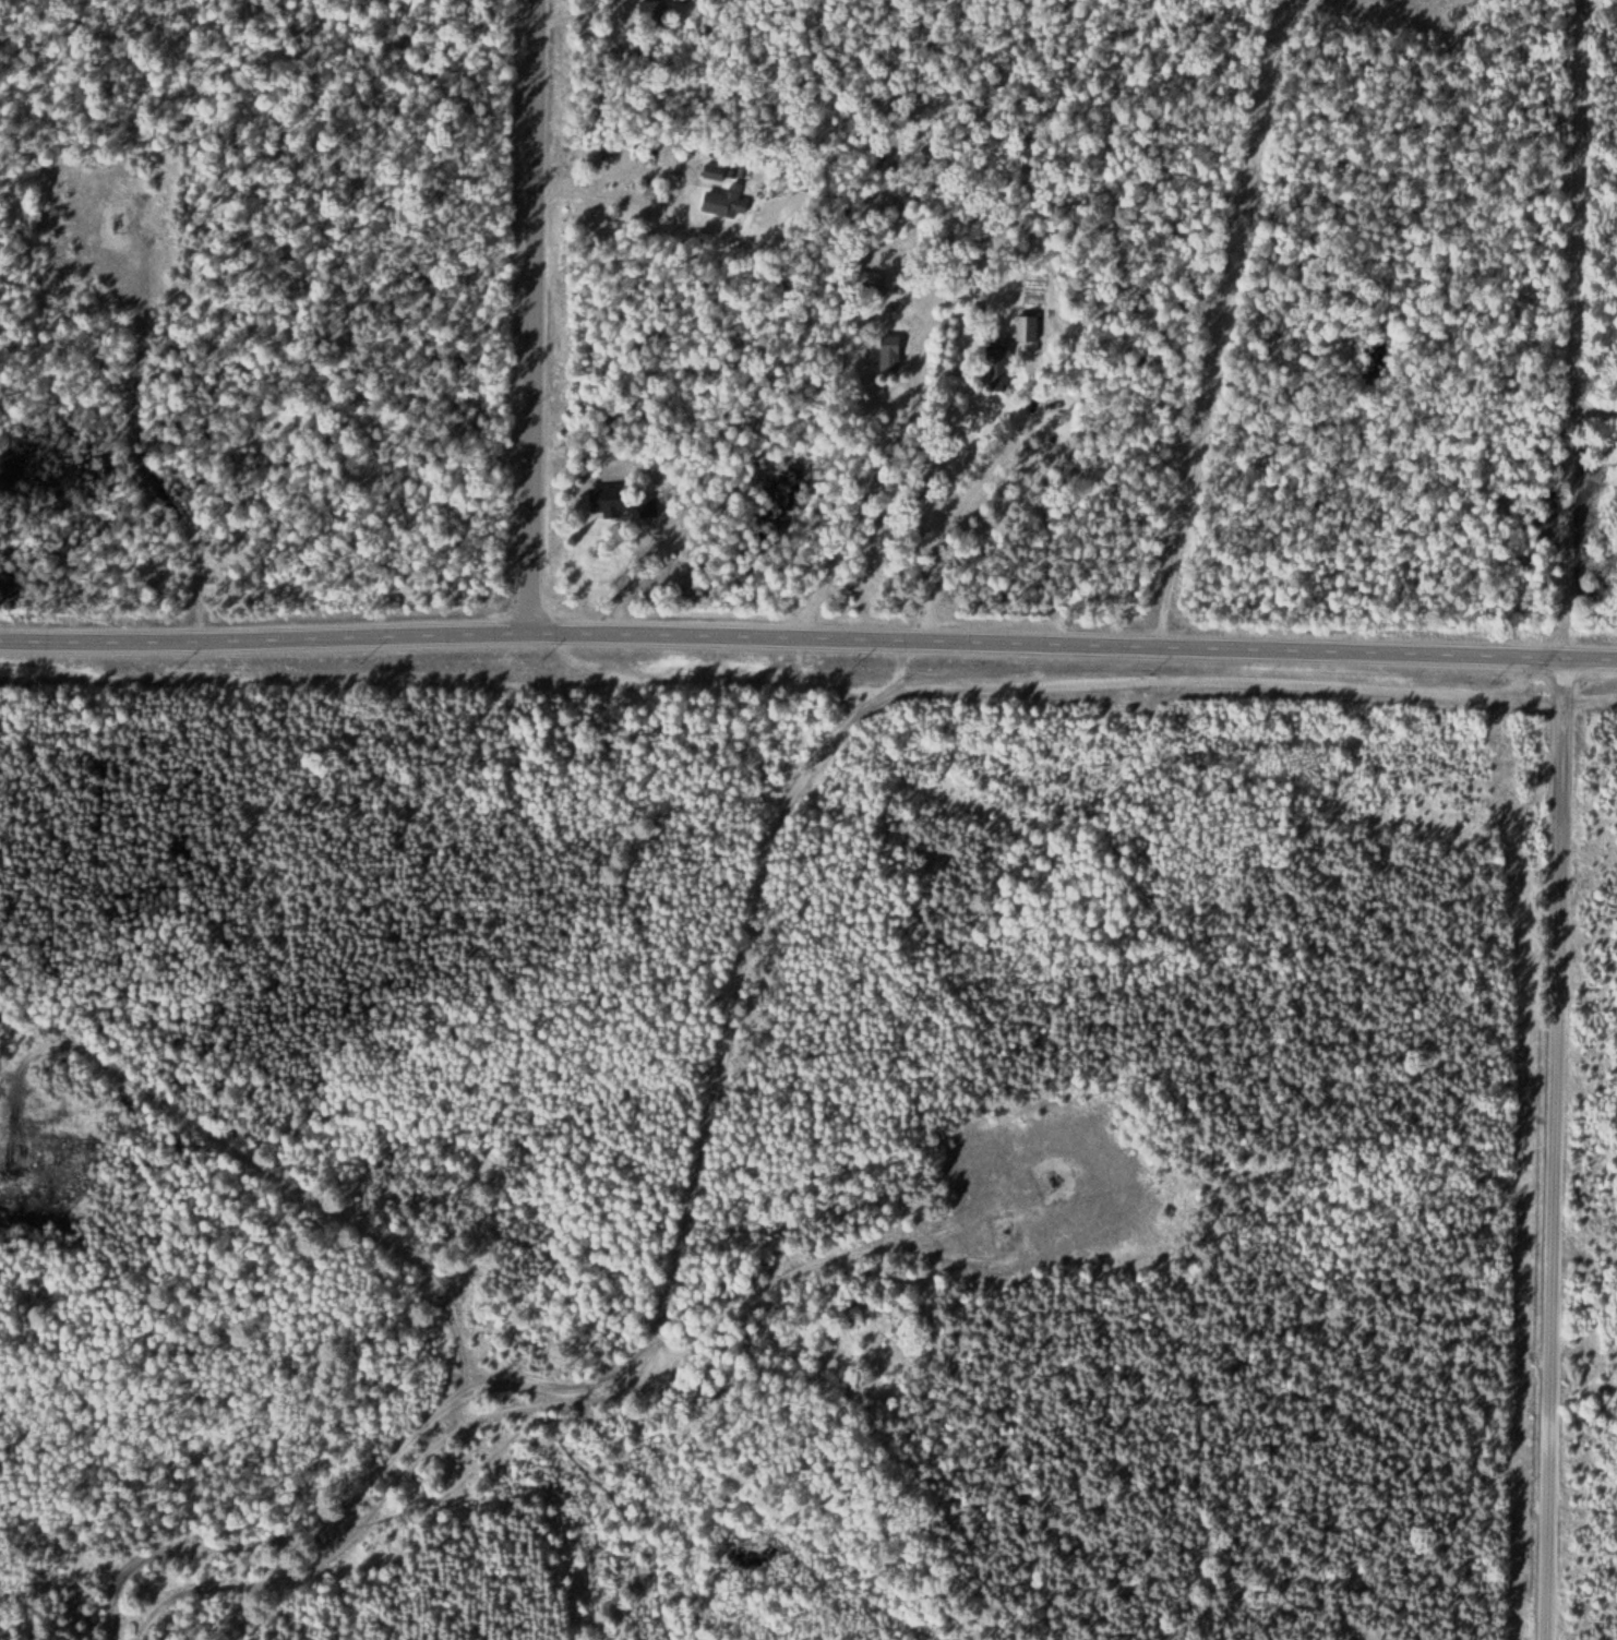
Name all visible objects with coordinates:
building: (714, 175)
building: (714, 205)
petroleum well: (120, 225)
road: (535, 320)
road: (1226, 323)
building: (1027, 328)
road: (1577, 330)
building: (888, 358)
building: (996, 368)
road: (1595, 406)
building: (609, 503)
building: (646, 510)
road: (453, 641)
road: (1234, 653)
road: (1590, 661)
road: (781, 680)
road: (1555, 1150)
road: (254, 1160)
petroleum well: (1049, 1178)
building: (1010, 1248)
road: (812, 1264)
road: (664, 1277)
road: (460, 1398)
road: (406, 1509)
road: (104, 1627)

